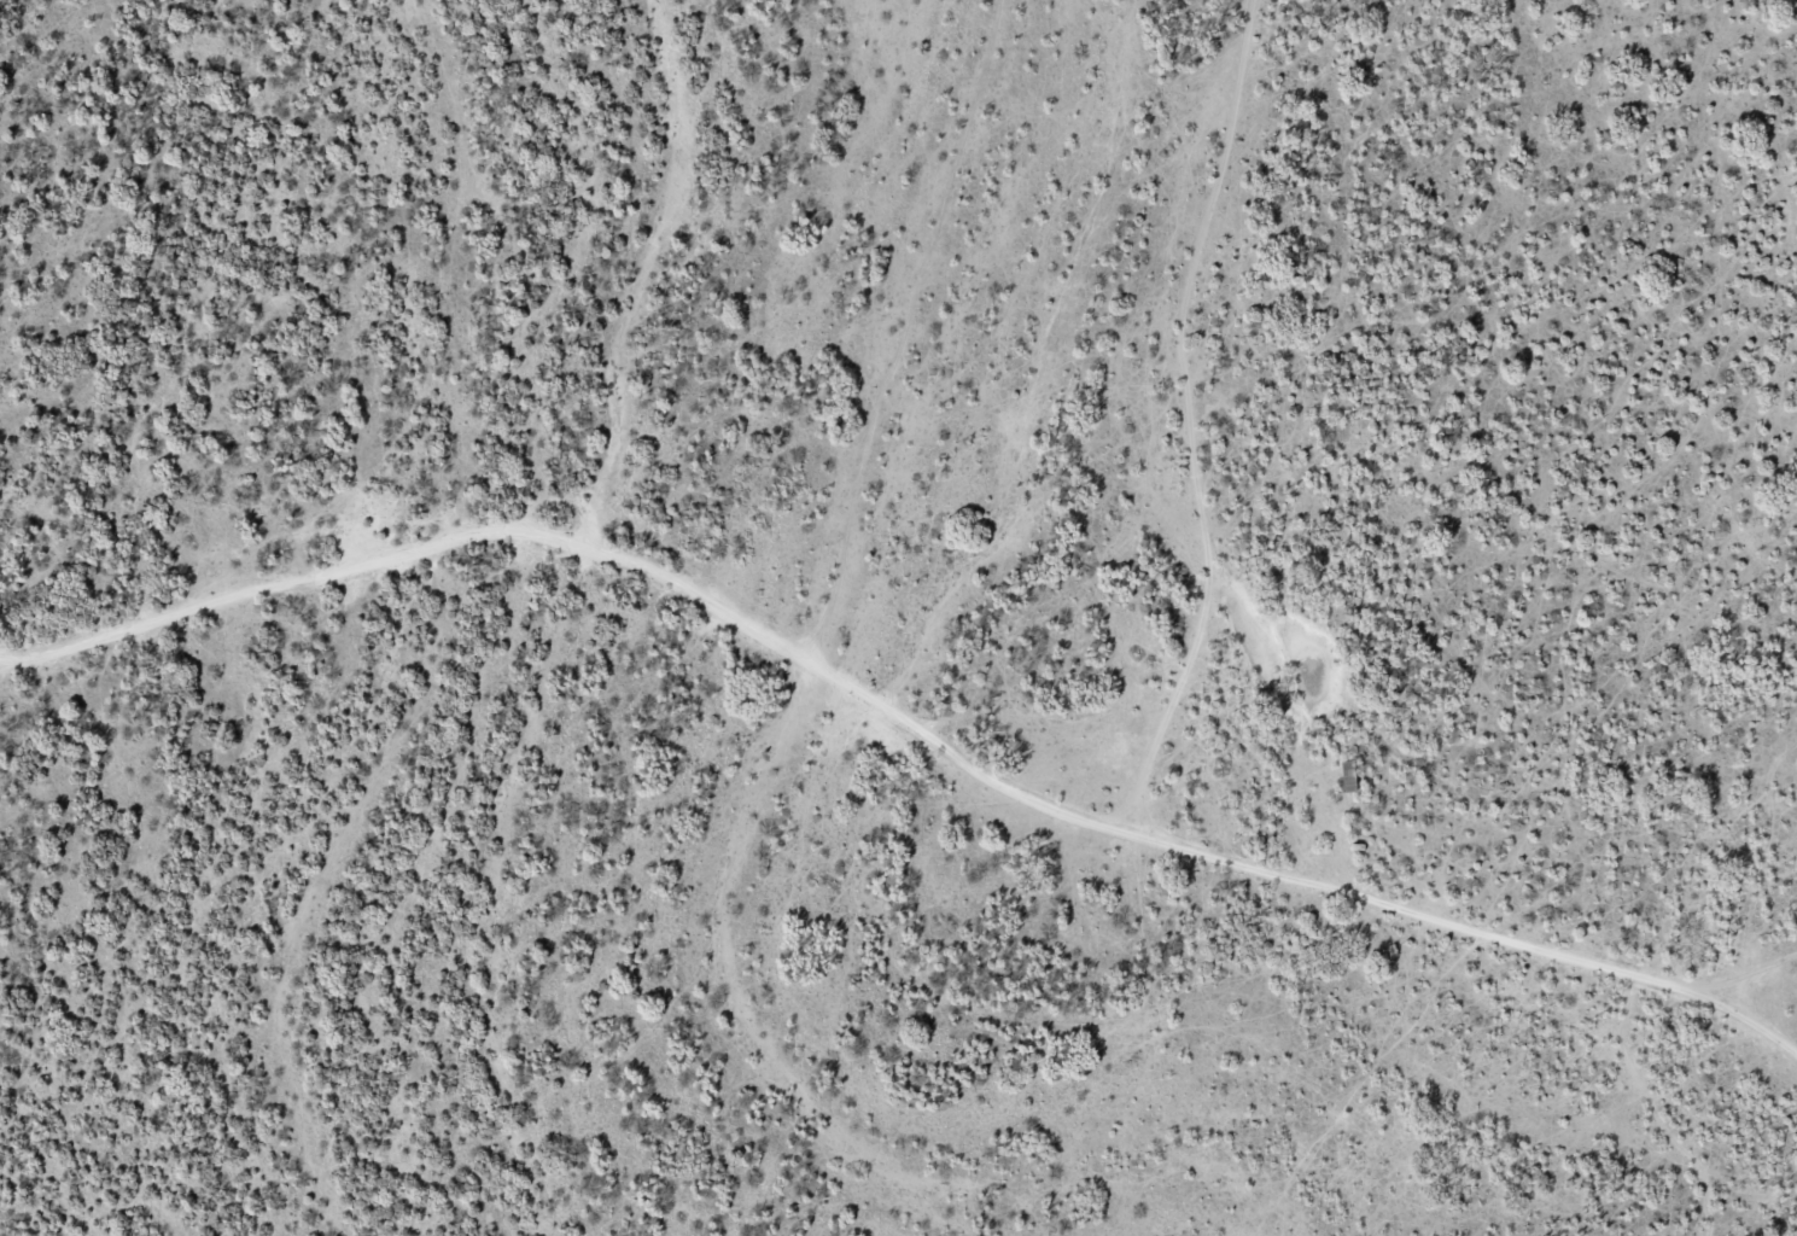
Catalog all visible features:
road: (1177, 198)
road: (1166, 597)
road: (905, 700)
building: (1344, 777)
road: (1735, 1044)

